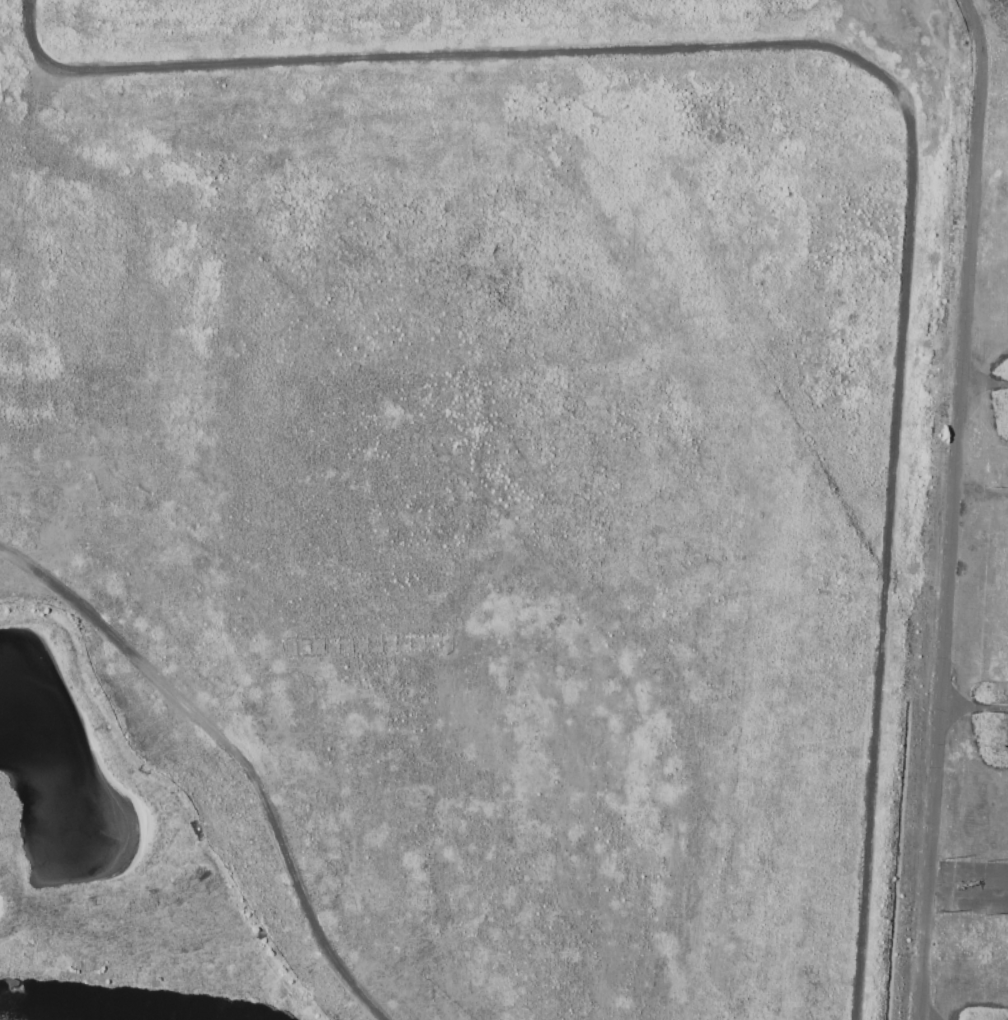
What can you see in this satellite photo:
road: (952, 508)

